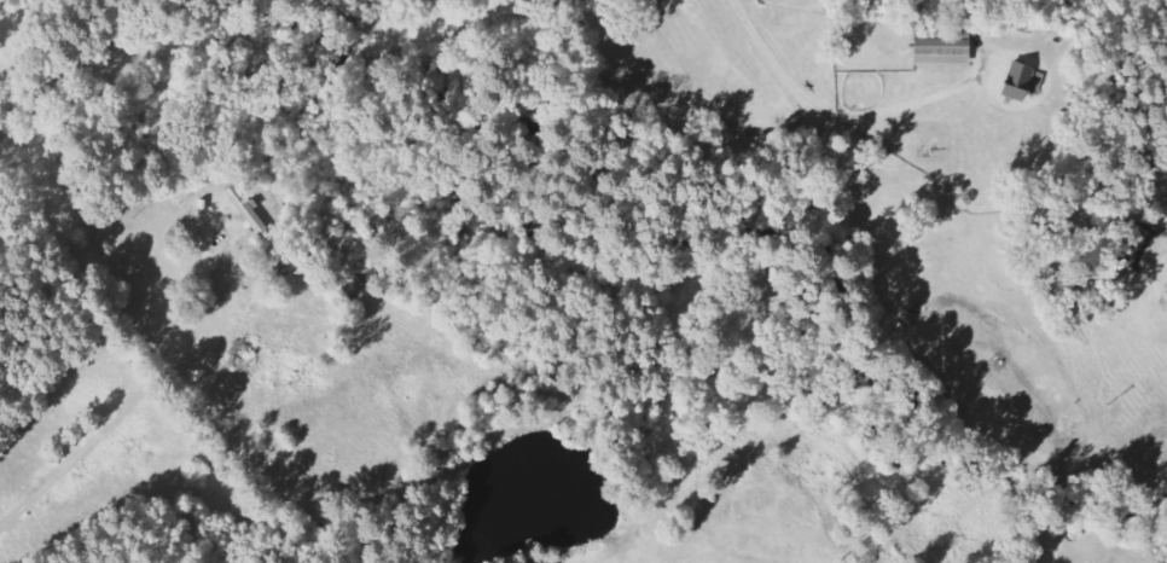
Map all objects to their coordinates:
building: (946, 50)
building: (1021, 81)
building: (249, 210)

